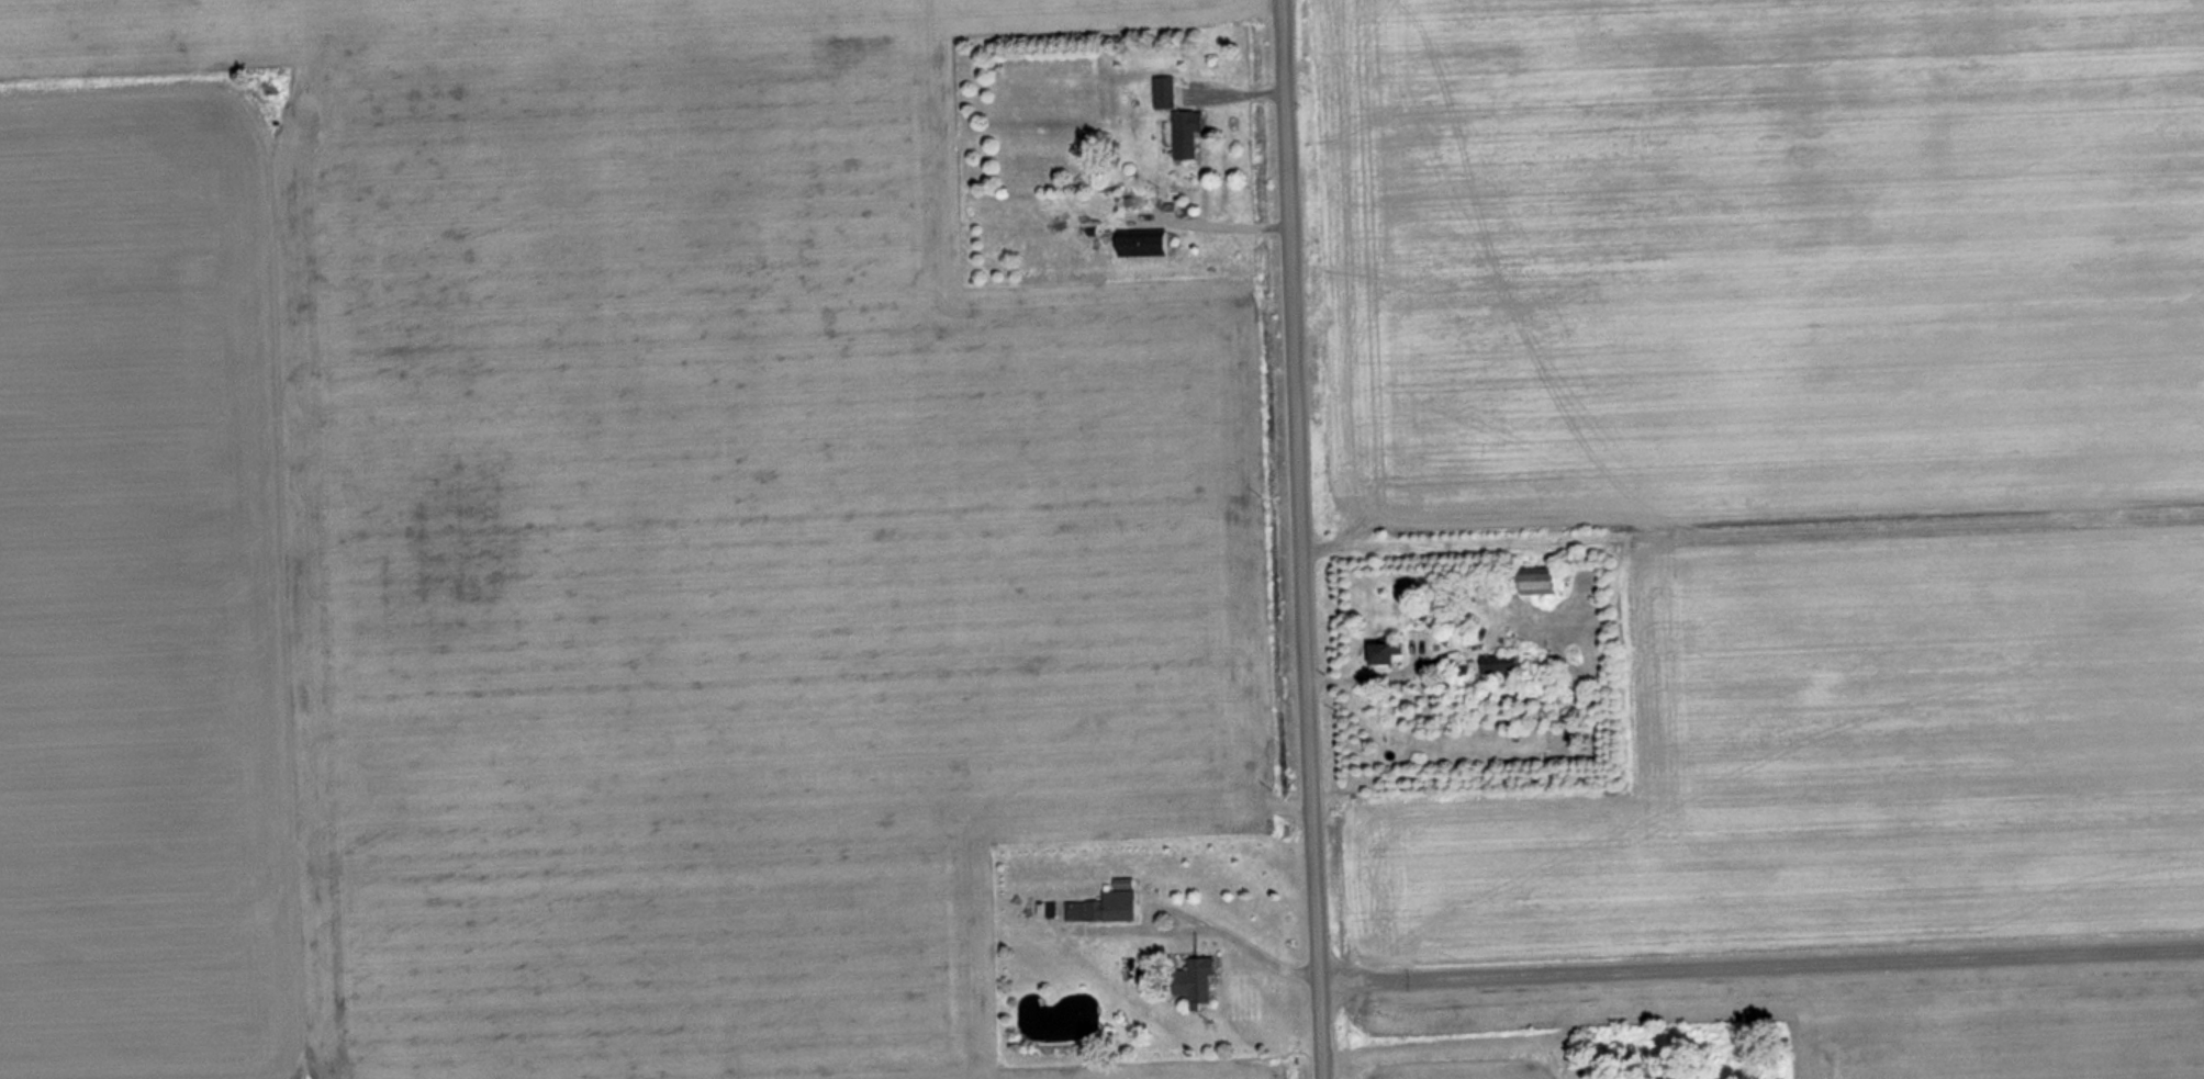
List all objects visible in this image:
building: (1167, 93)
building: (1190, 135)
building: (1146, 244)
road: (1302, 539)
building: (1547, 581)
building: (1392, 654)
building: (1511, 666)
building: (1098, 910)
road: (1761, 958)
building: (1199, 984)

